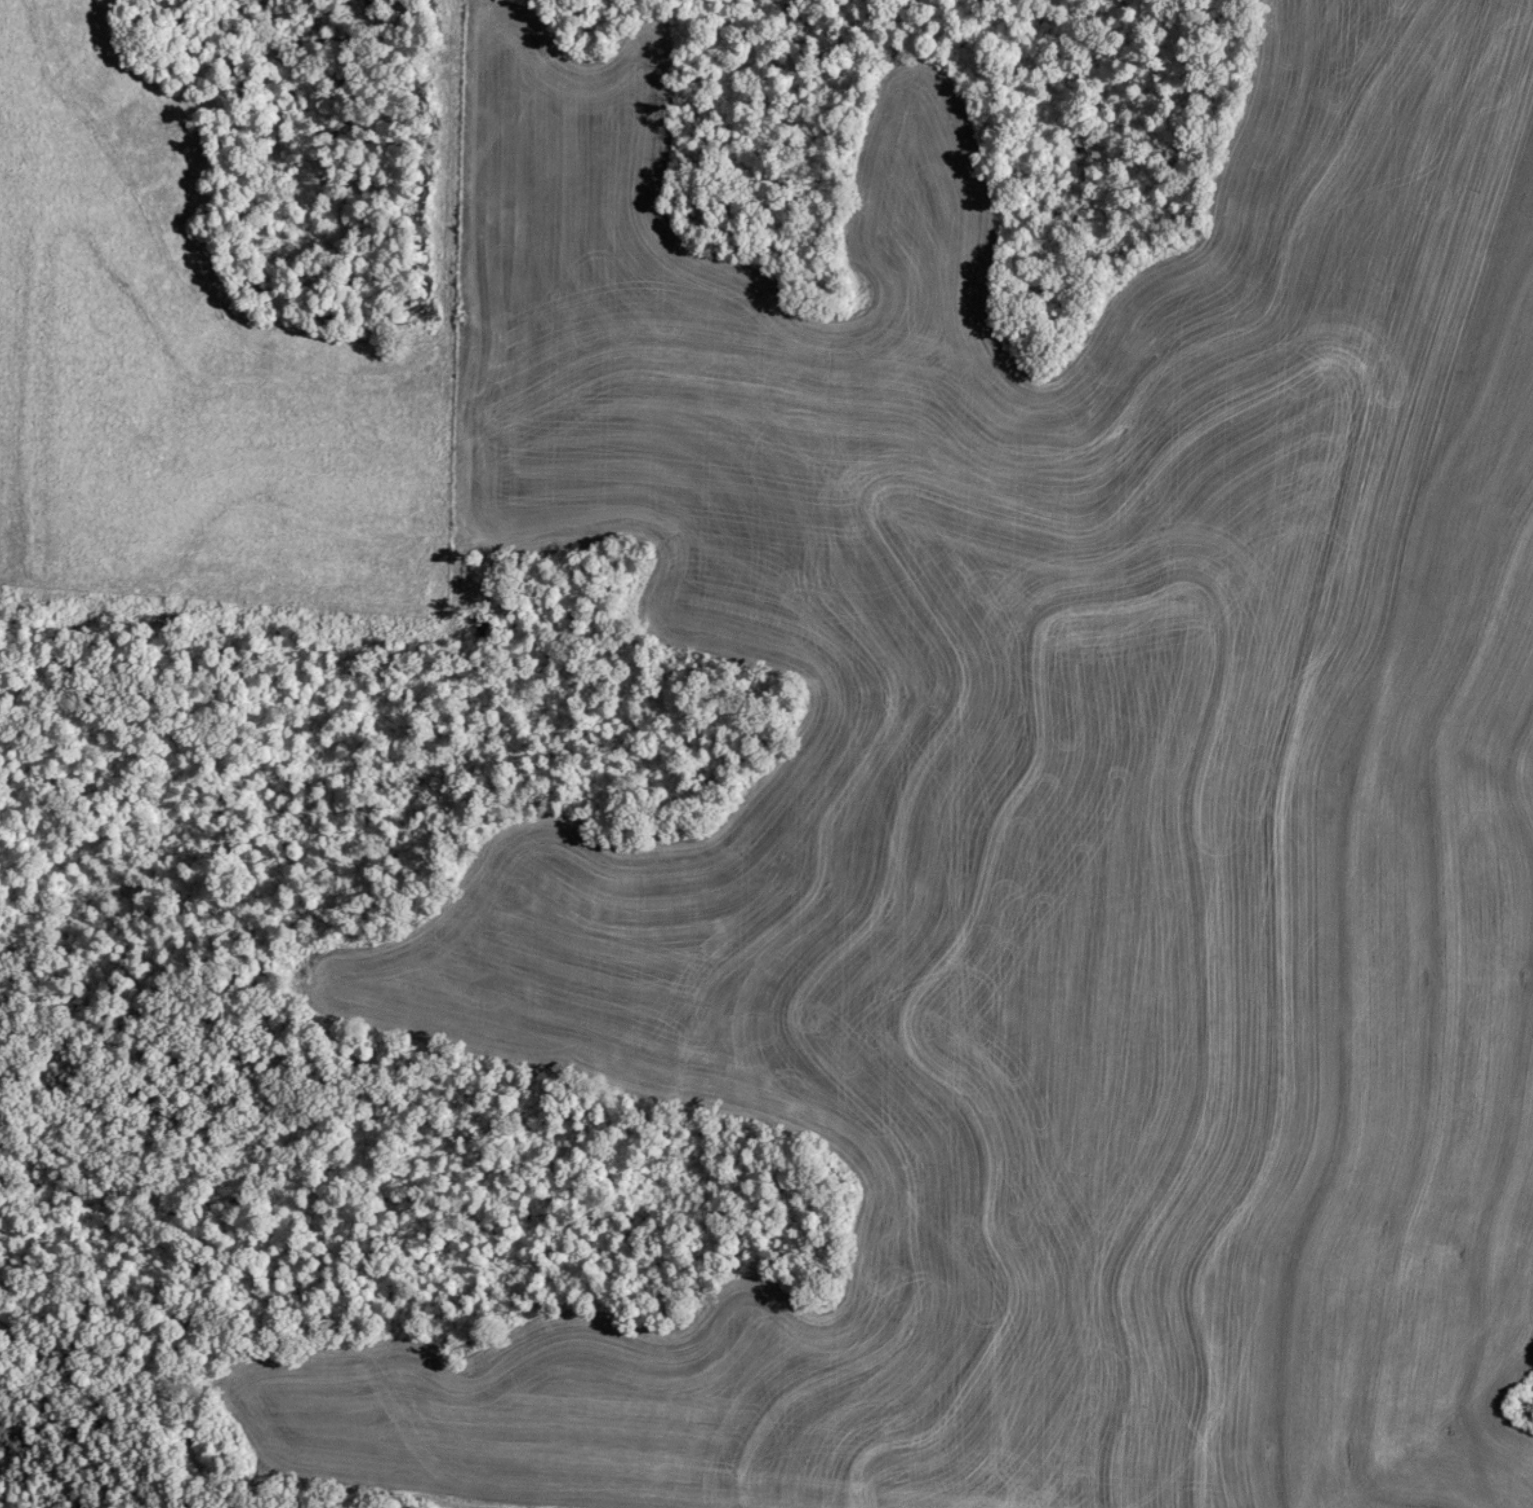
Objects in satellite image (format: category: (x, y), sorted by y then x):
road: (187, 1462)

